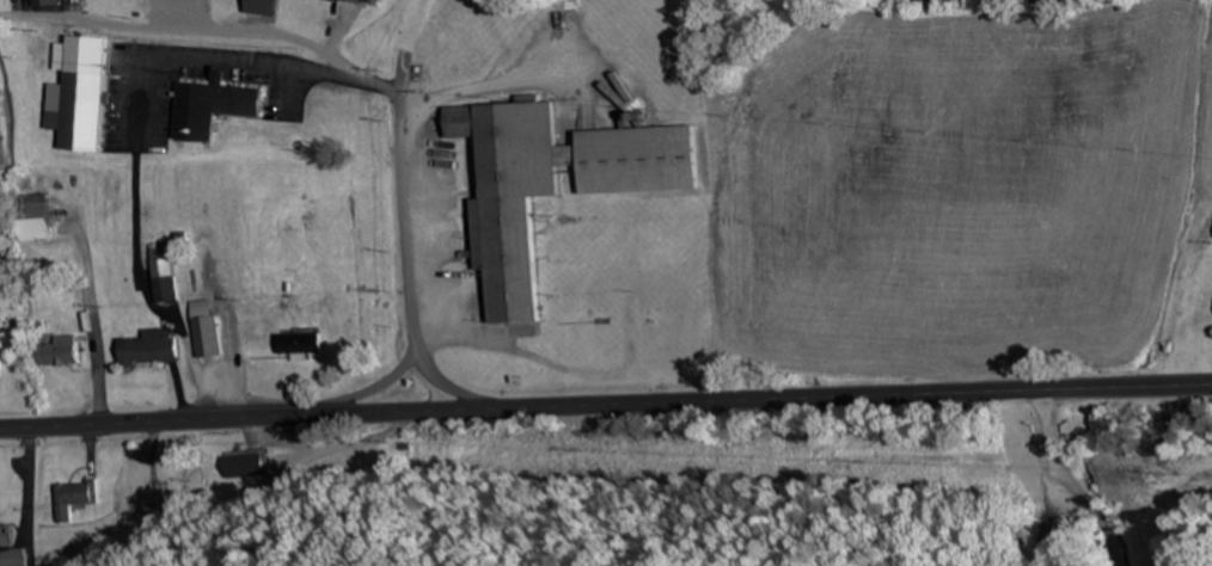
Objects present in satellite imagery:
building: (353, 0)
building: (378, 1)
building: (48, 2)
building: (264, 6)
road: (402, 6)
building: (212, 109)
building: (80, 112)
building: (553, 184)
road: (416, 207)
building: (33, 217)
building: (163, 272)
road: (543, 285)
building: (204, 328)
building: (148, 347)
building: (59, 351)
road: (605, 406)
building: (247, 463)
building: (73, 497)

